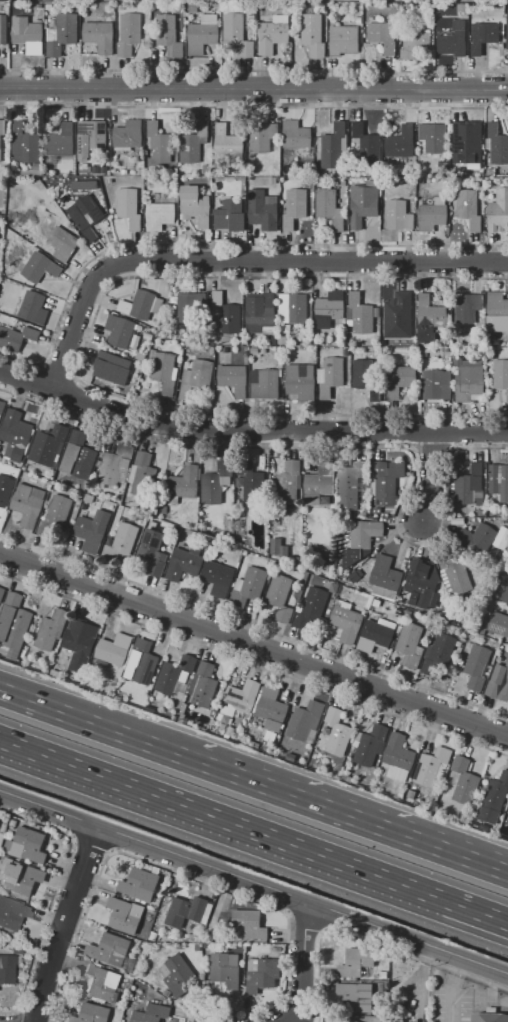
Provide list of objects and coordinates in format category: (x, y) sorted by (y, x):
building: (3, 29)
building: (26, 31)
building: (61, 33)
building: (129, 33)
building: (237, 33)
building: (313, 33)
building: (381, 33)
building: (507, 33)
building: (169, 34)
building: (272, 34)
building: (99, 36)
building: (483, 36)
building: (201, 37)
building: (451, 38)
building: (343, 40)
building: (416, 44)
road: (253, 88)
building: (128, 134)
building: (295, 134)
building: (90, 136)
building: (261, 136)
building: (433, 137)
building: (467, 140)
building: (61, 141)
building: (3, 142)
building: (228, 142)
building: (401, 142)
building: (159, 143)
building: (194, 143)
building: (25, 144)
building: (367, 145)
building: (498, 145)
building: (334, 146)
building: (82, 168)
building: (462, 168)
building: (207, 169)
building: (96, 170)
building: (103, 170)
building: (186, 170)
building: (124, 171)
building: (139, 171)
building: (31, 172)
building: (491, 172)
building: (272, 180)
building: (341, 180)
building: (77, 190)
building: (207, 192)
building: (363, 204)
building: (195, 206)
building: (129, 207)
building: (294, 207)
building: (329, 208)
building: (469, 208)
building: (264, 210)
building: (498, 212)
building: (88, 215)
building: (159, 215)
building: (230, 215)
building: (398, 215)
building: (20, 216)
building: (431, 216)
building: (62, 243)
road: (238, 262)
building: (39, 266)
building: (141, 305)
building: (32, 306)
building: (467, 306)
building: (191, 308)
building: (293, 308)
building: (329, 309)
building: (496, 309)
building: (260, 312)
building: (225, 313)
building: (361, 314)
building: (398, 316)
building: (429, 317)
building: (121, 332)
building: (16, 338)
building: (271, 340)
building: (282, 340)
building: (386, 340)
building: (254, 350)
building: (108, 367)
building: (165, 371)
building: (362, 373)
building: (500, 374)
building: (330, 376)
building: (195, 377)
building: (233, 378)
building: (399, 380)
building: (469, 380)
building: (300, 381)
building: (266, 384)
building: (435, 384)
building: (2, 408)
road: (248, 428)
building: (14, 435)
building: (49, 444)
building: (78, 456)
building: (115, 465)
building: (142, 474)
road: (433, 478)
building: (499, 480)
building: (251, 481)
building: (288, 481)
building: (385, 481)
building: (216, 482)
building: (240, 482)
building: (319, 483)
building: (184, 484)
building: (350, 484)
building: (469, 486)
building: (5, 489)
building: (28, 504)
building: (164, 510)
building: (377, 511)
building: (481, 512)
building: (54, 517)
building: (228, 523)
building: (90, 534)
building: (364, 534)
building: (125, 538)
building: (479, 538)
building: (502, 541)
building: (346, 544)
building: (277, 546)
building: (154, 550)
building: (326, 557)
building: (344, 558)
building: (184, 563)
building: (385, 573)
building: (355, 575)
building: (218, 577)
building: (456, 578)
building: (423, 584)
building: (248, 587)
building: (502, 587)
building: (384, 593)
building: (2, 594)
building: (281, 597)
building: (331, 599)
building: (311, 610)
building: (346, 620)
building: (14, 624)
building: (498, 624)
building: (50, 628)
building: (376, 635)
road: (254, 640)
building: (78, 644)
building: (410, 644)
building: (113, 648)
building: (438, 653)
building: (24, 654)
building: (140, 662)
building: (478, 667)
building: (61, 668)
building: (175, 676)
building: (498, 677)
building: (203, 685)
building: (239, 700)
building: (184, 707)
building: (271, 709)
building: (183, 717)
building: (305, 722)
road: (96, 725)
building: (230, 731)
building: (333, 733)
building: (270, 736)
building: (249, 742)
building: (372, 744)
building: (398, 752)
building: (290, 757)
building: (430, 766)
building: (464, 782)
building: (494, 796)
road: (350, 815)
building: (0, 820)
road: (254, 831)
building: (27, 844)
building: (21, 876)
road: (254, 883)
building: (139, 884)
building: (185, 911)
building: (12, 913)
building: (124, 914)
building: (212, 922)
road: (66, 923)
building: (249, 923)
building: (206, 946)
building: (109, 949)
road: (303, 962)
building: (357, 962)
building: (6, 970)
building: (223, 971)
building: (177, 974)
building: (261, 974)
building: (382, 974)
building: (100, 982)
road: (417, 982)
building: (378, 987)
road: (451, 989)
building: (355, 997)
building: (92, 1013)
building: (152, 1013)
building: (489, 1017)
building: (350, 1021)

